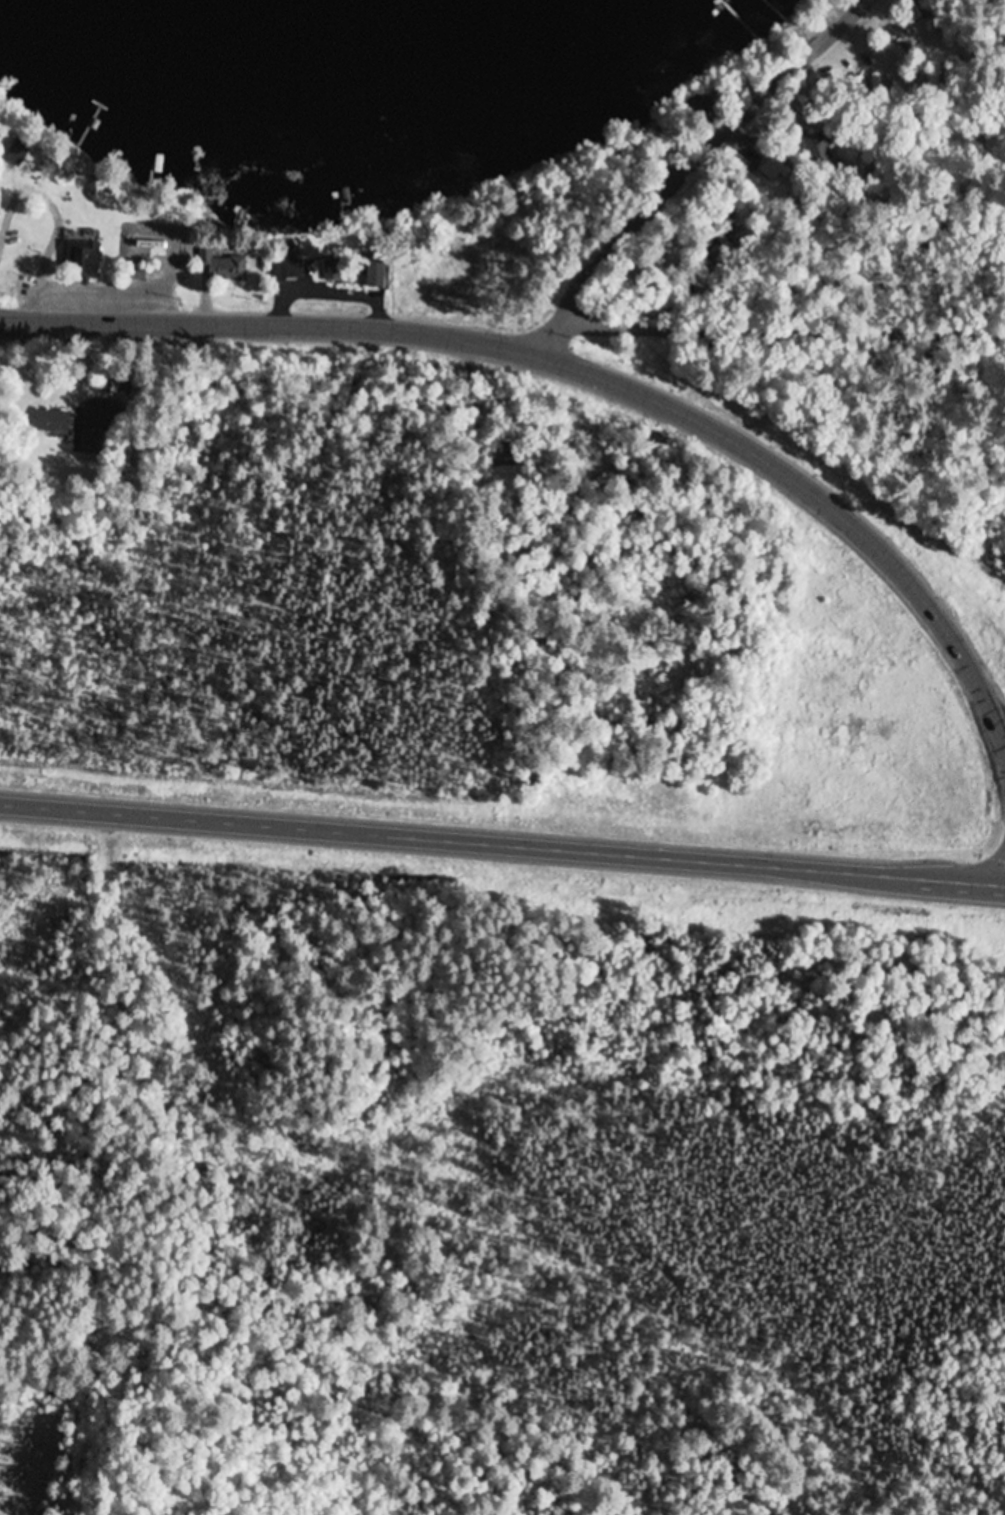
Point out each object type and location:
building: (703, 109)
building: (18, 154)
road: (688, 169)
building: (777, 170)
building: (111, 236)
building: (450, 260)
building: (83, 261)
building: (286, 265)
building: (222, 267)
building: (333, 270)
building: (376, 273)
road: (782, 332)
road: (579, 372)
building: (53, 423)
building: (91, 448)
building: (505, 452)
road: (502, 847)

